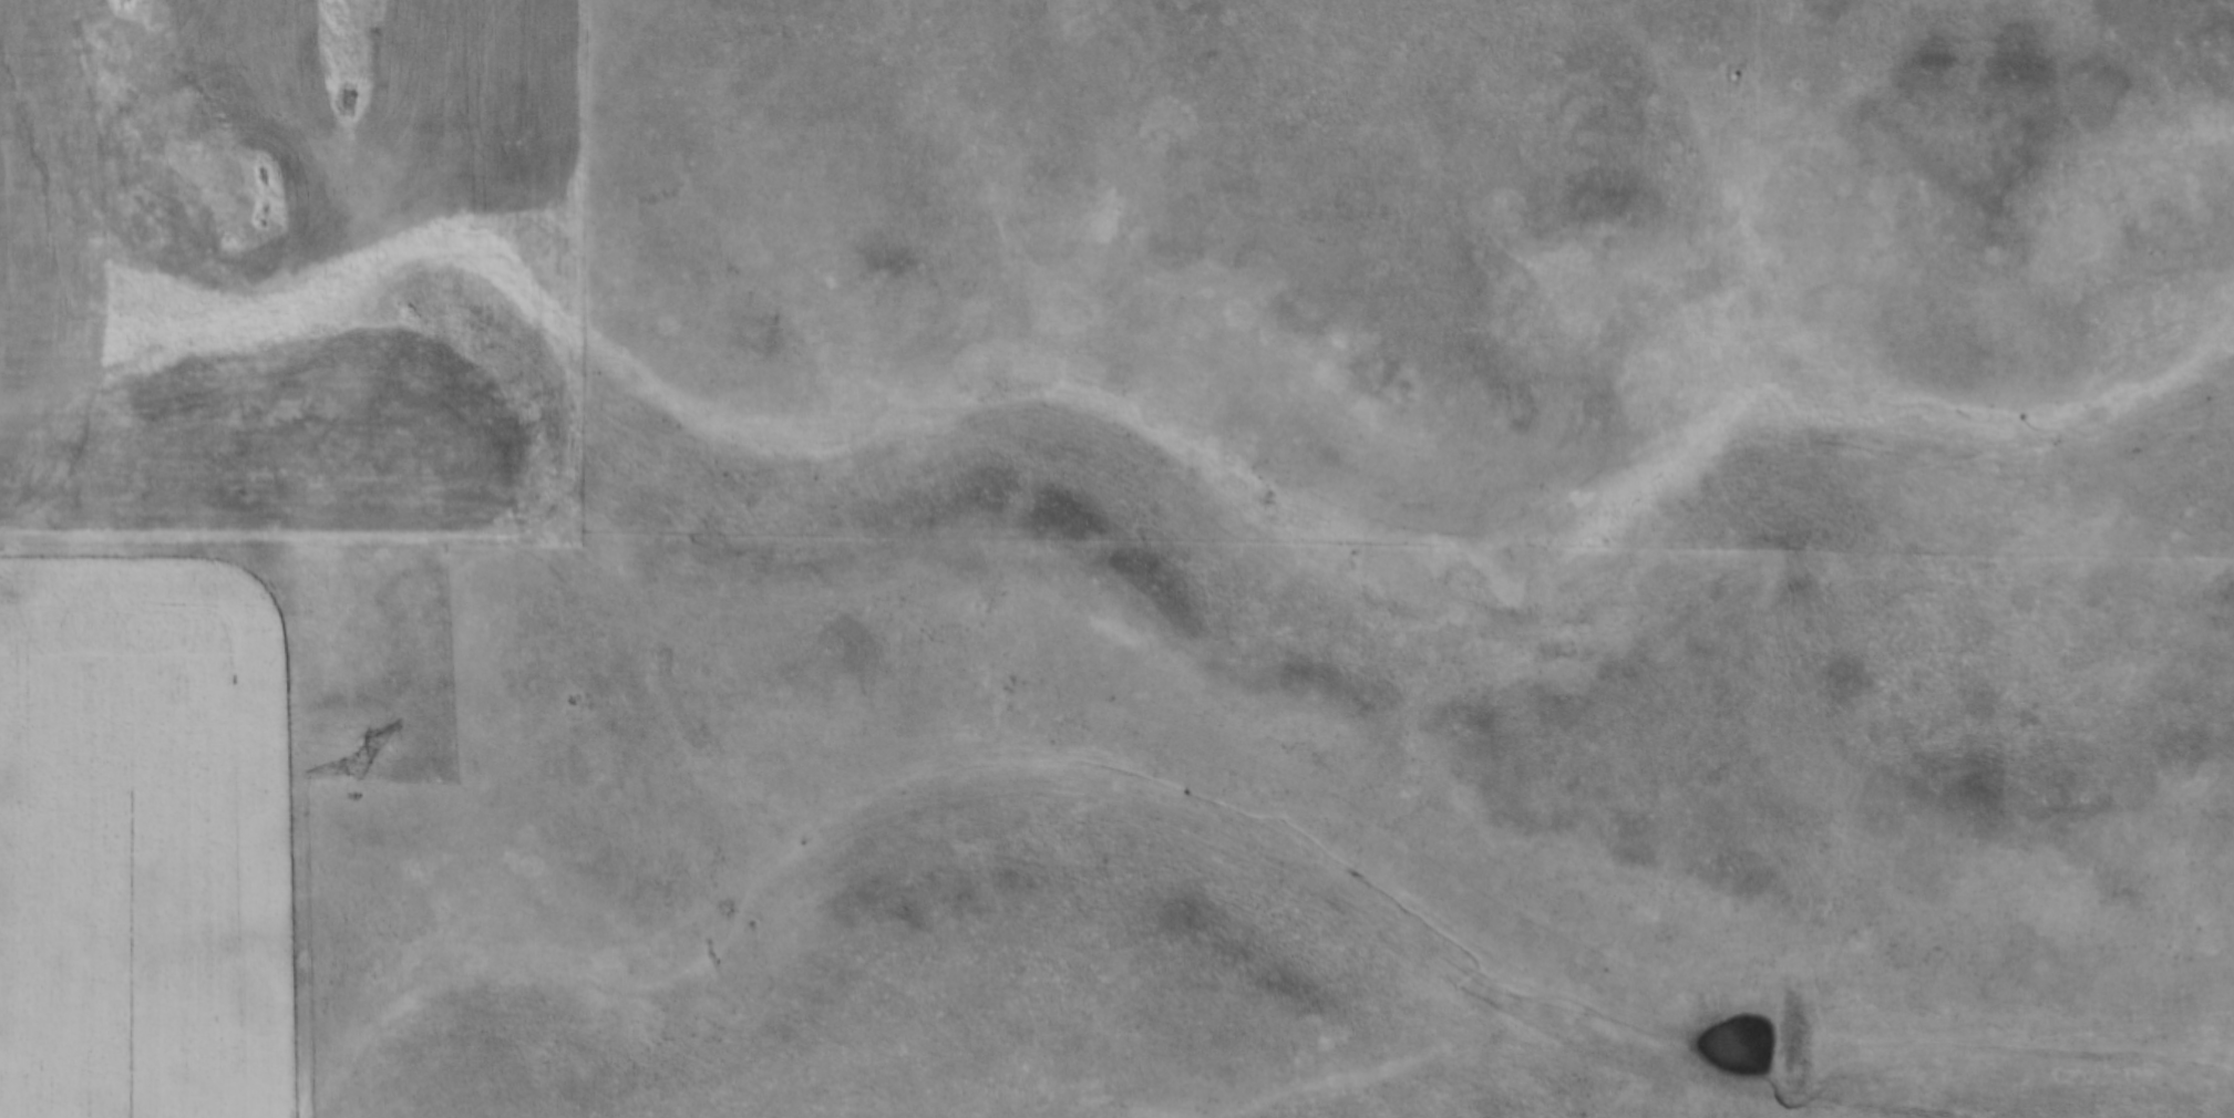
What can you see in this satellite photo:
road: (1133, 544)
power tower: (359, 777)

